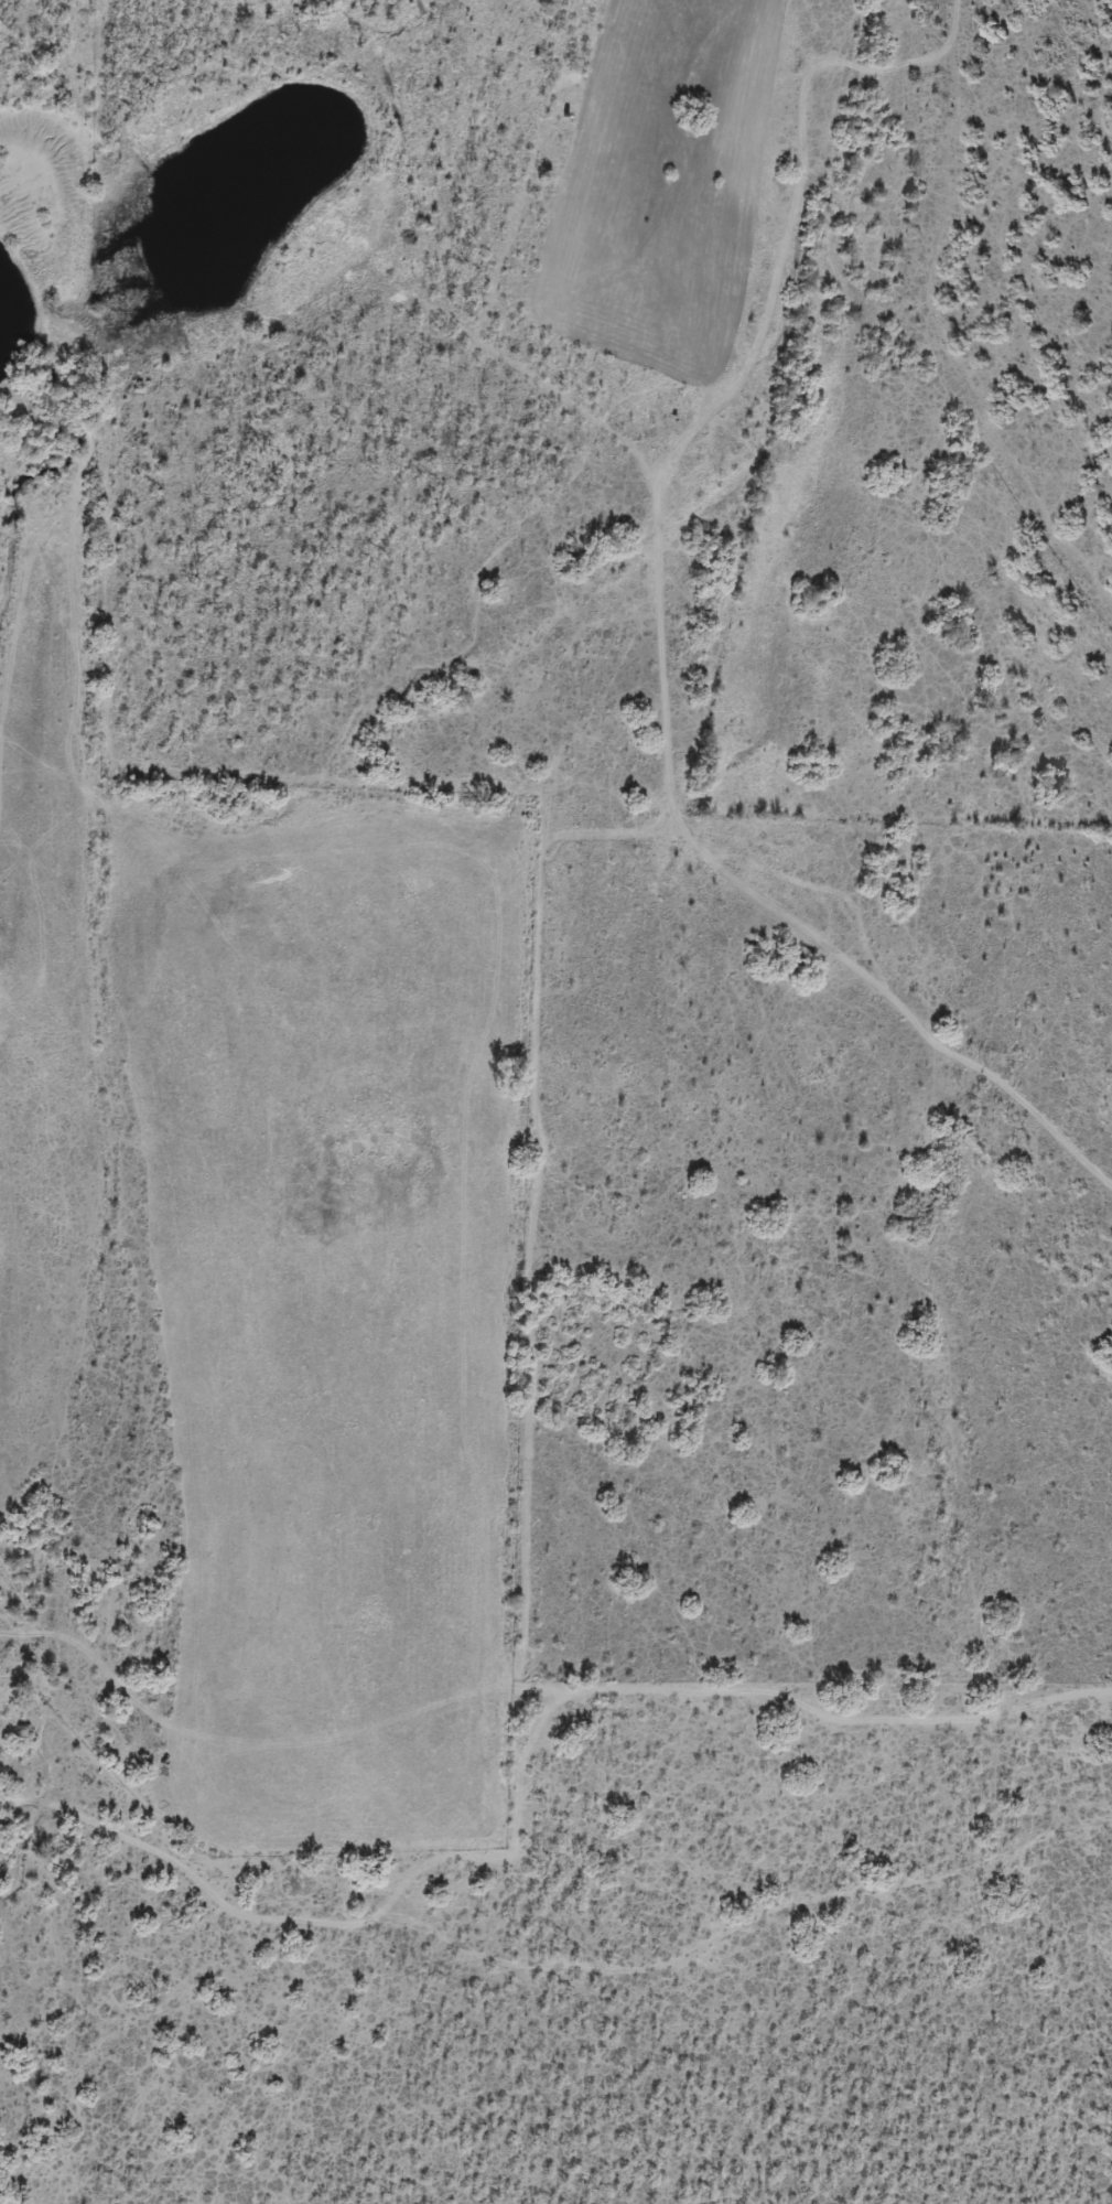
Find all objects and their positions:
road: (946, 341)
road: (550, 1968)

